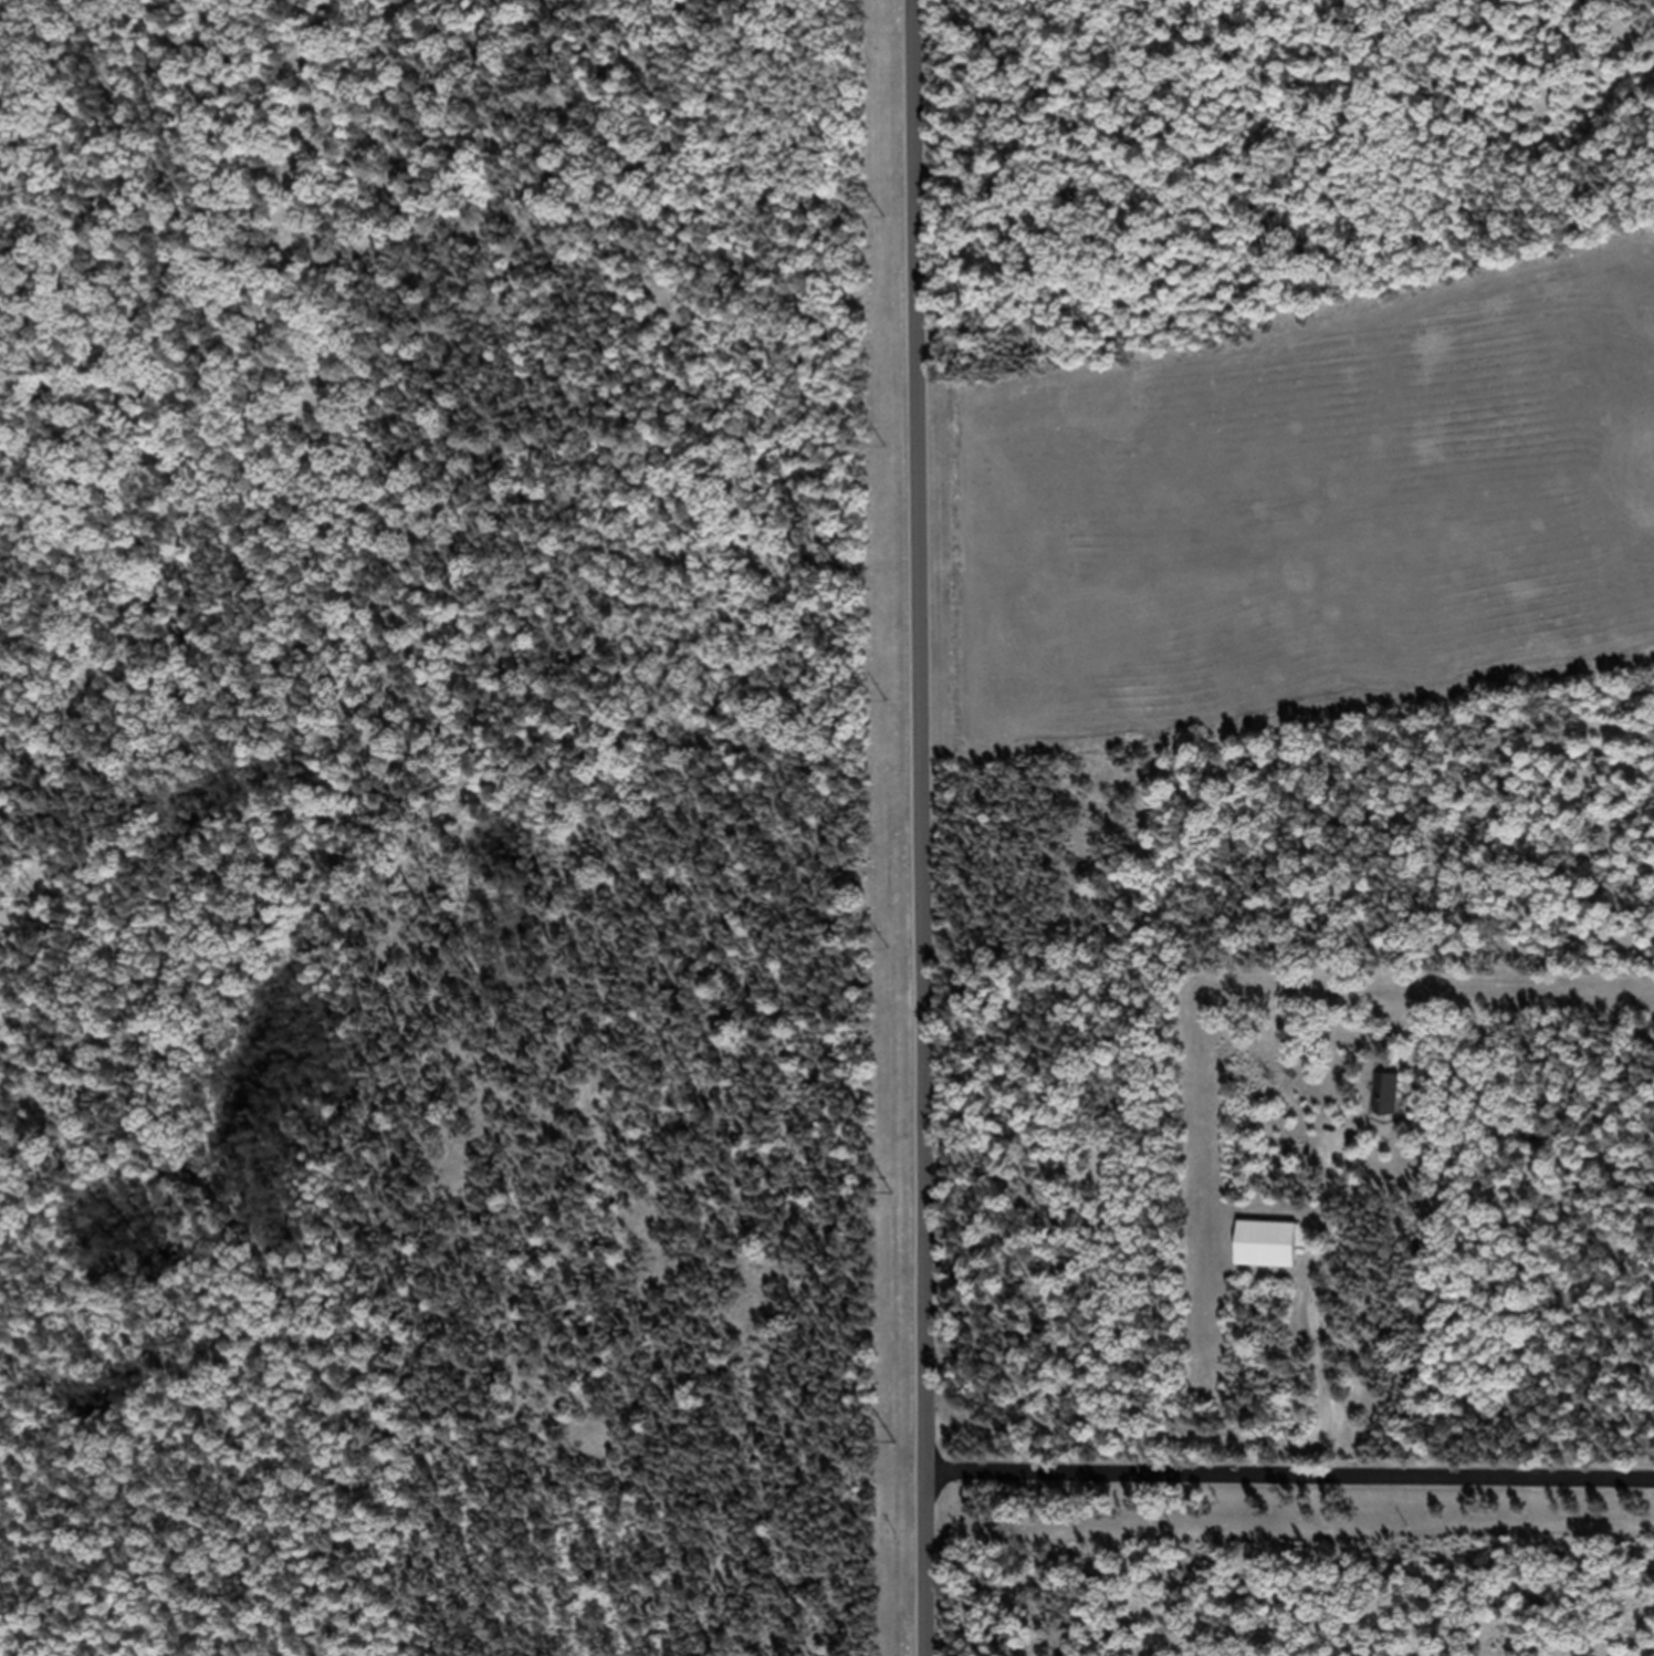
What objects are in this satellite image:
airport: (1291, 494)
airport runway: (1402, 510)
road: (920, 827)
building: (1385, 1105)
building: (1265, 1256)
road: (1631, 1402)
road: (1289, 1487)

